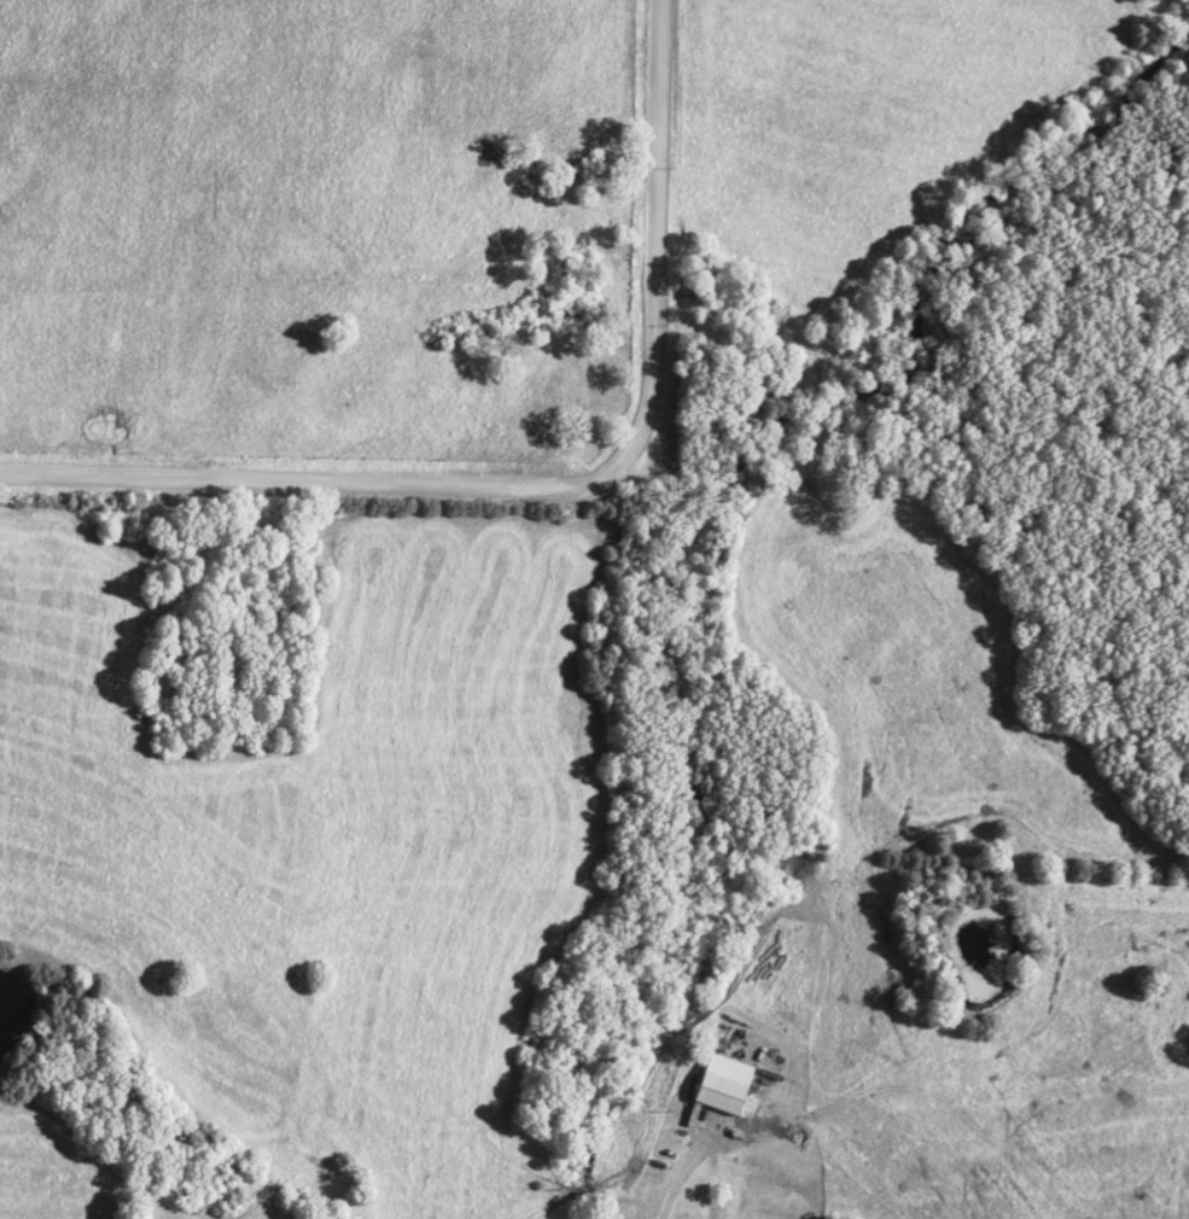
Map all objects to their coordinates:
road: (716, 351)
road: (547, 492)
building: (723, 1085)
road: (759, 1174)

